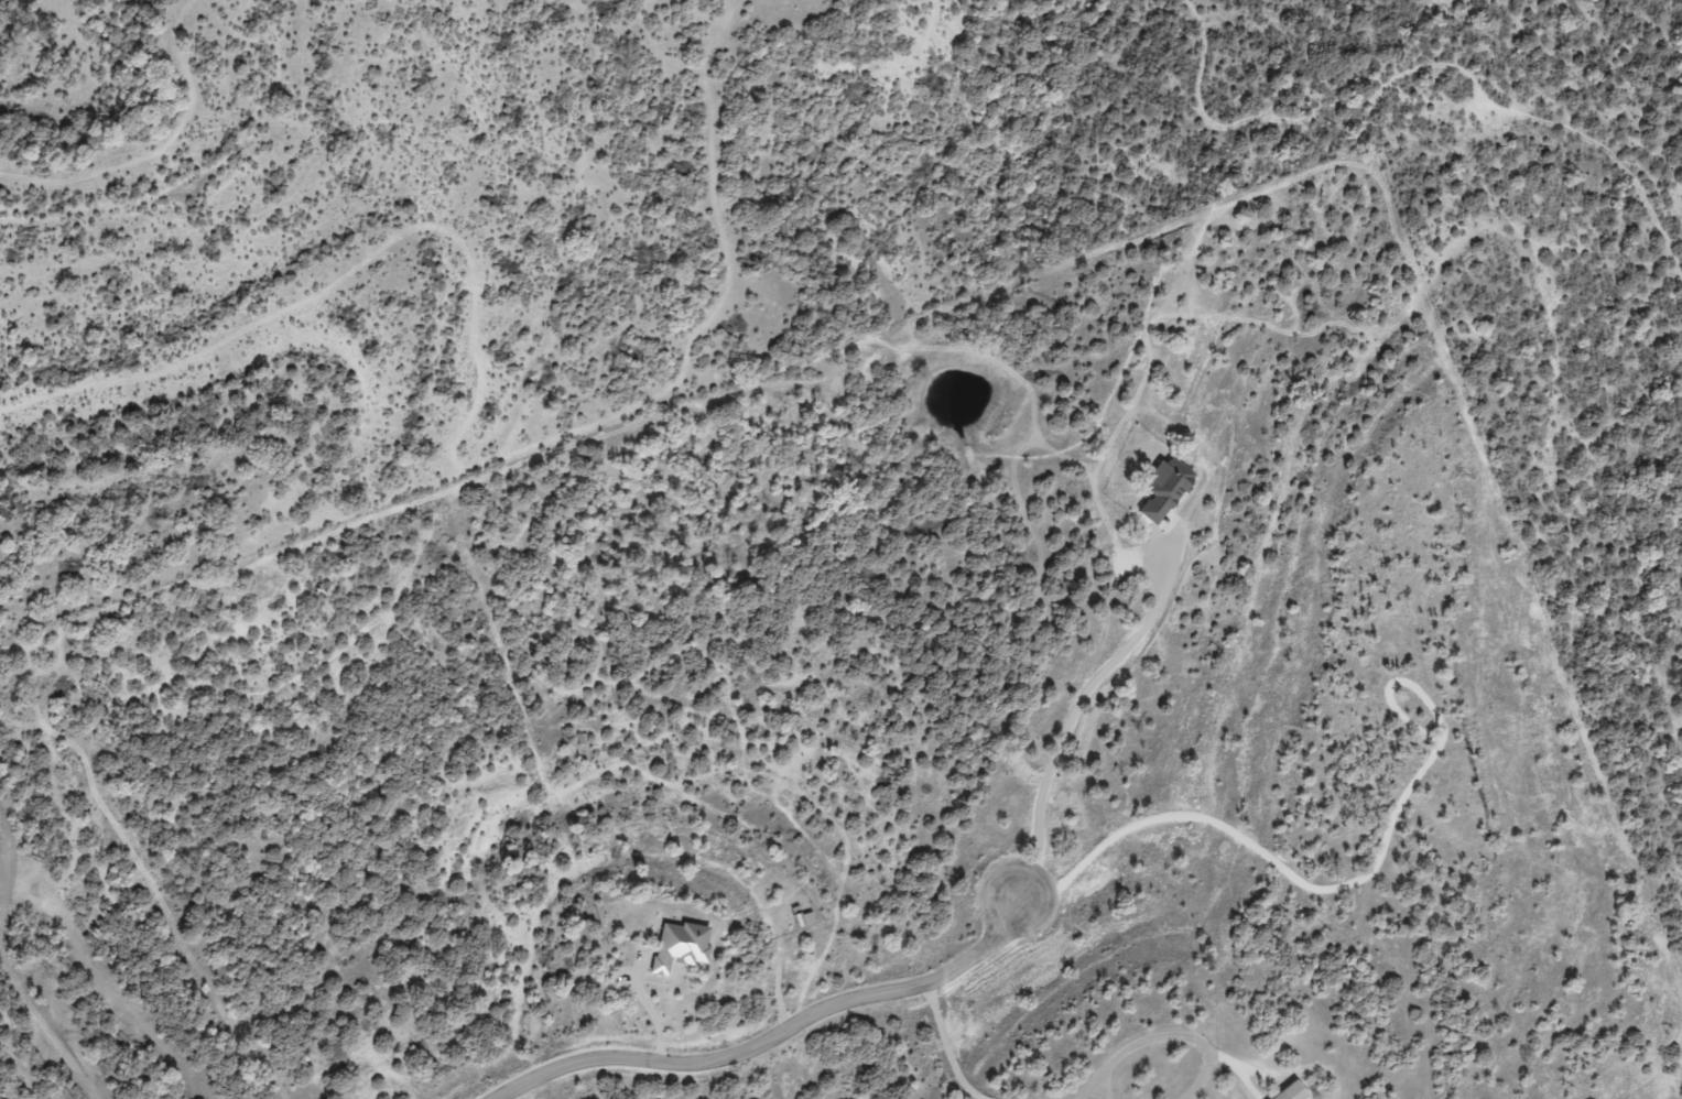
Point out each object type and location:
road: (1065, 719)
road: (775, 1035)
road: (934, 1045)
building: (1281, 1095)

